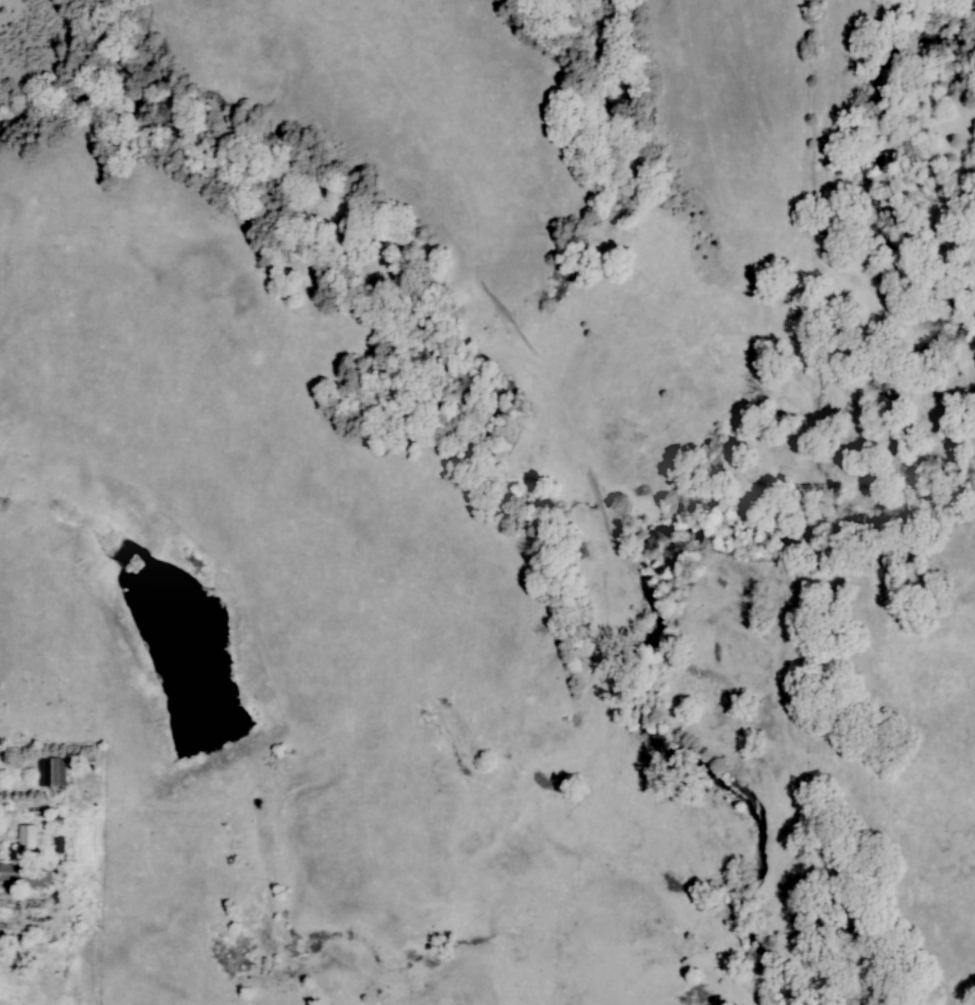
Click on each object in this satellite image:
building: (53, 771)
building: (28, 839)
building: (25, 875)
road: (54, 889)

